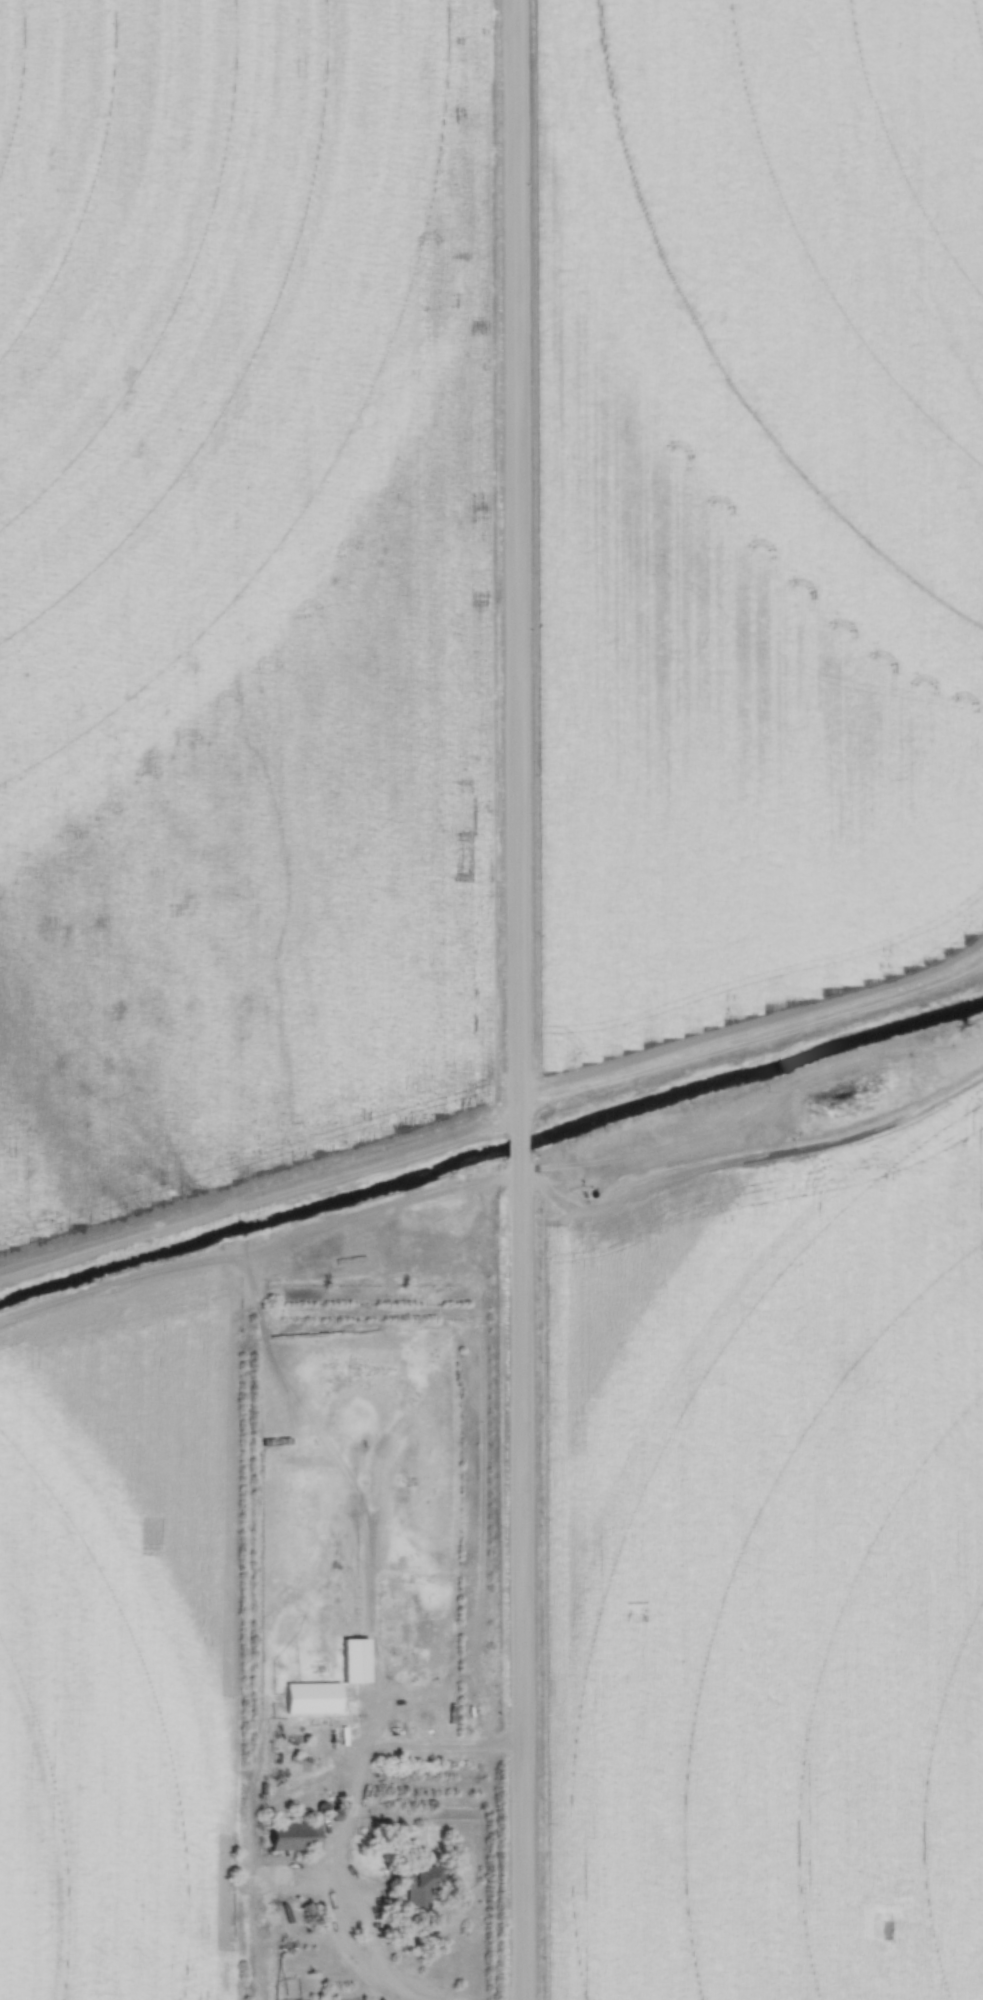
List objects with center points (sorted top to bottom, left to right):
crop: (756, 507)
road: (516, 566)
crop: (240, 587)
road: (752, 1042)
road: (519, 1144)
building: (276, 1442)
road: (523, 1577)
crop: (771, 1583)
crop: (116, 1643)
building: (292, 1837)
building: (414, 1882)
road: (374, 1943)
road: (348, 1947)

